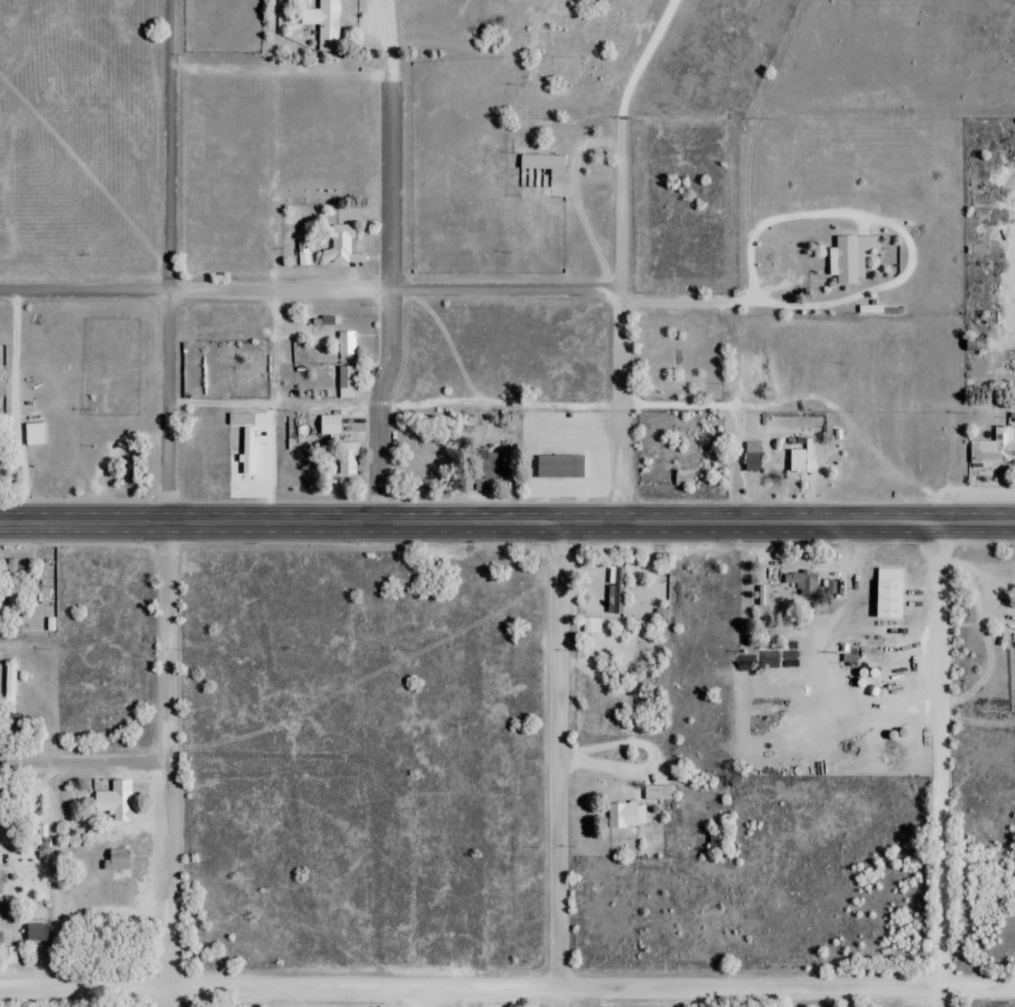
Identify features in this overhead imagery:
building: (324, 24)
building: (341, 247)
building: (851, 258)
road: (170, 263)
road: (392, 264)
road: (376, 289)
road: (624, 298)
building: (346, 343)
building: (974, 345)
building: (346, 381)
road: (18, 418)
building: (328, 425)
building: (995, 448)
building: (753, 457)
building: (803, 459)
building: (347, 460)
building: (489, 465)
building: (560, 467)
building: (683, 480)
road: (507, 528)
building: (17, 580)
building: (800, 583)
building: (888, 592)
building: (873, 651)
building: (10, 684)
road: (85, 763)
road: (170, 767)
road: (560, 767)
road: (941, 767)
building: (658, 792)
building: (117, 800)
building: (626, 814)
building: (717, 841)
building: (117, 859)
road: (57, 878)
building: (1, 882)
building: (36, 931)
road: (507, 991)

